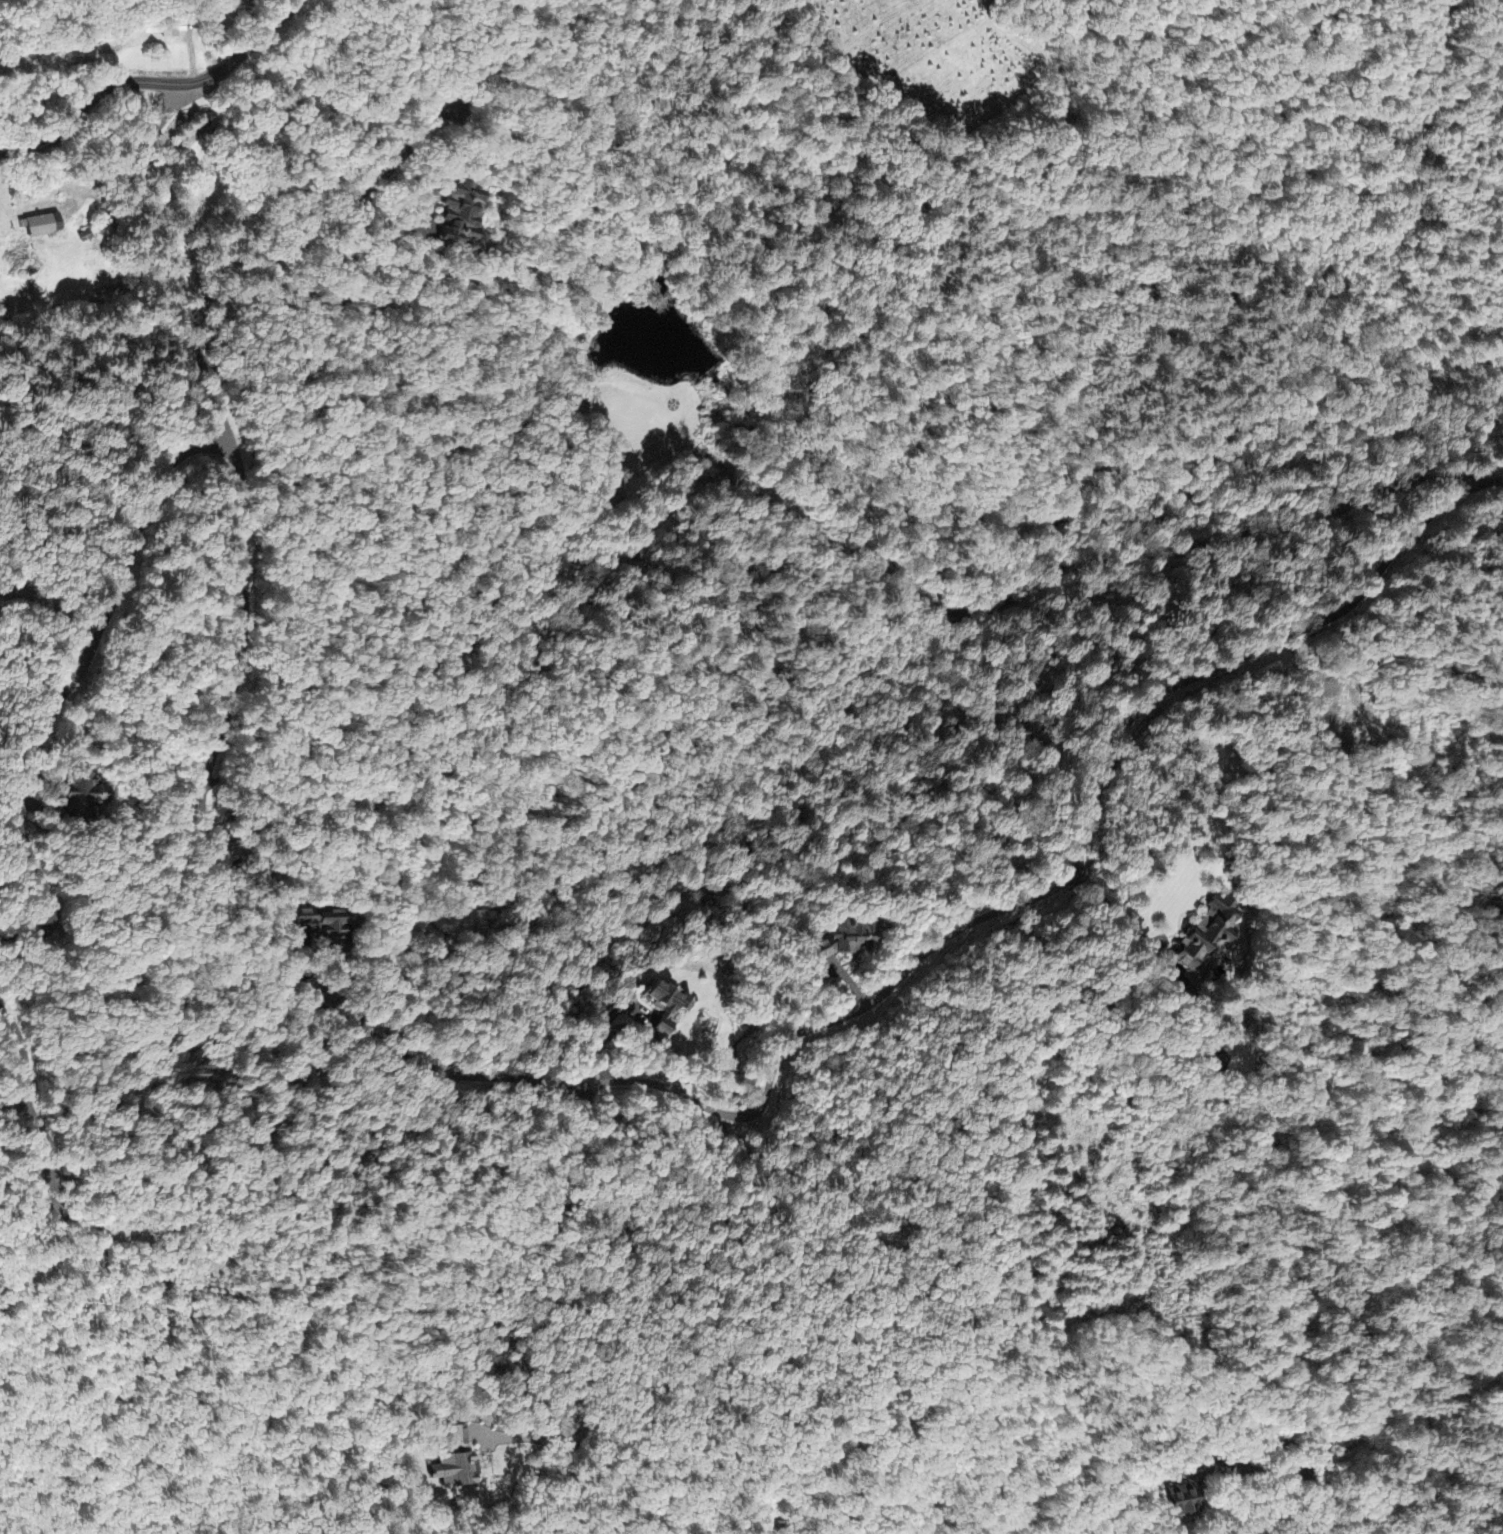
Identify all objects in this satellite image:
road: (158, 86)
building: (459, 217)
building: (48, 227)
road: (57, 699)
building: (87, 793)
building: (1205, 934)
building: (850, 946)
building: (668, 1008)
road: (581, 1088)
road: (52, 1176)
building: (457, 1465)
building: (1180, 1503)
road: (1322, 1507)

